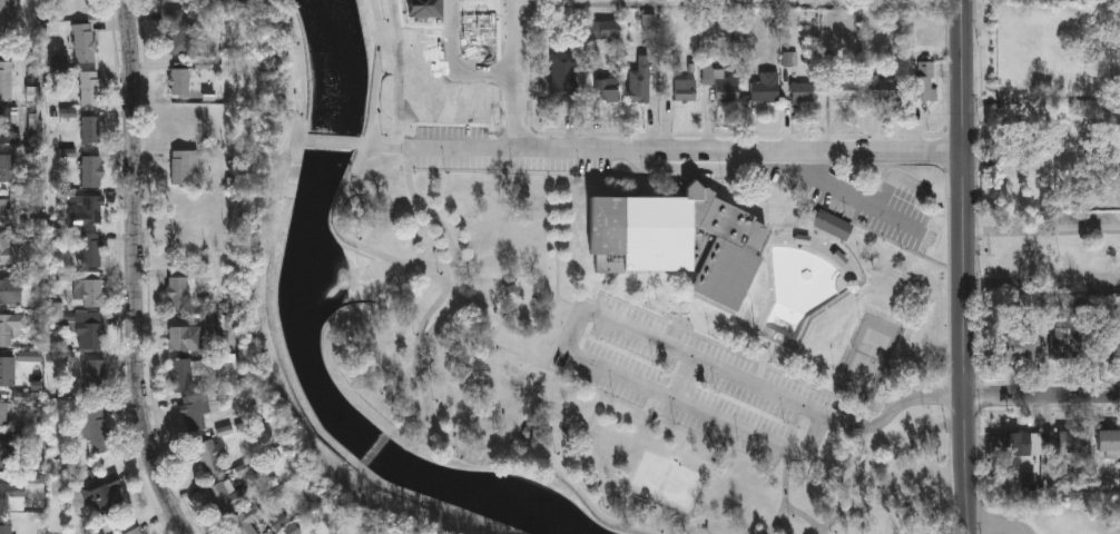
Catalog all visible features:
building: (82, 7)
building: (421, 9)
building: (4, 14)
building: (475, 27)
building: (179, 30)
building: (602, 30)
building: (83, 41)
road: (456, 63)
road: (518, 75)
building: (562, 76)
building: (7, 79)
building: (180, 80)
building: (640, 80)
building: (924, 80)
building: (90, 86)
building: (607, 86)
building: (726, 86)
building: (766, 87)
building: (686, 89)
building: (846, 89)
building: (882, 89)
building: (803, 92)
road: (1096, 96)
road: (307, 99)
road: (1019, 100)
road: (1096, 106)
building: (183, 121)
building: (7, 122)
building: (90, 128)
road: (306, 145)
road: (333, 146)
road: (384, 148)
road: (741, 149)
road: (464, 150)
parking lot: (484, 152)
building: (6, 166)
building: (184, 166)
building: (91, 170)
road: (351, 176)
road: (894, 178)
road: (699, 180)
road: (852, 196)
building: (91, 209)
building: (4, 210)
building: (191, 211)
building: (833, 224)
road: (1043, 231)
building: (679, 239)
building: (6, 247)
building: (91, 249)
road: (966, 267)
road: (137, 270)
building: (181, 285)
road: (1043, 285)
building: (10, 290)
building: (91, 291)
road: (569, 304)
park: (599, 323)
road: (616, 325)
road: (675, 325)
road: (681, 325)
building: (10, 326)
building: (89, 328)
building: (185, 337)
building: (1064, 342)
building: (1107, 342)
building: (1021, 345)
road: (511, 354)
park: (873, 357)
road: (765, 368)
building: (7, 369)
building: (95, 374)
building: (181, 374)
road: (685, 380)
road: (1043, 397)
road: (428, 400)
building: (195, 411)
building: (3, 413)
road: (580, 426)
building: (97, 427)
building: (1108, 439)
building: (1071, 441)
building: (1018, 442)
road: (685, 444)
building: (6, 447)
building: (210, 455)
road: (908, 479)
building: (104, 492)
building: (12, 494)
building: (226, 495)
road: (787, 495)
park: (1038, 512)
road: (1010, 513)
road: (805, 516)
building: (245, 520)
building: (6, 524)
road: (998, 525)
building: (135, 531)

